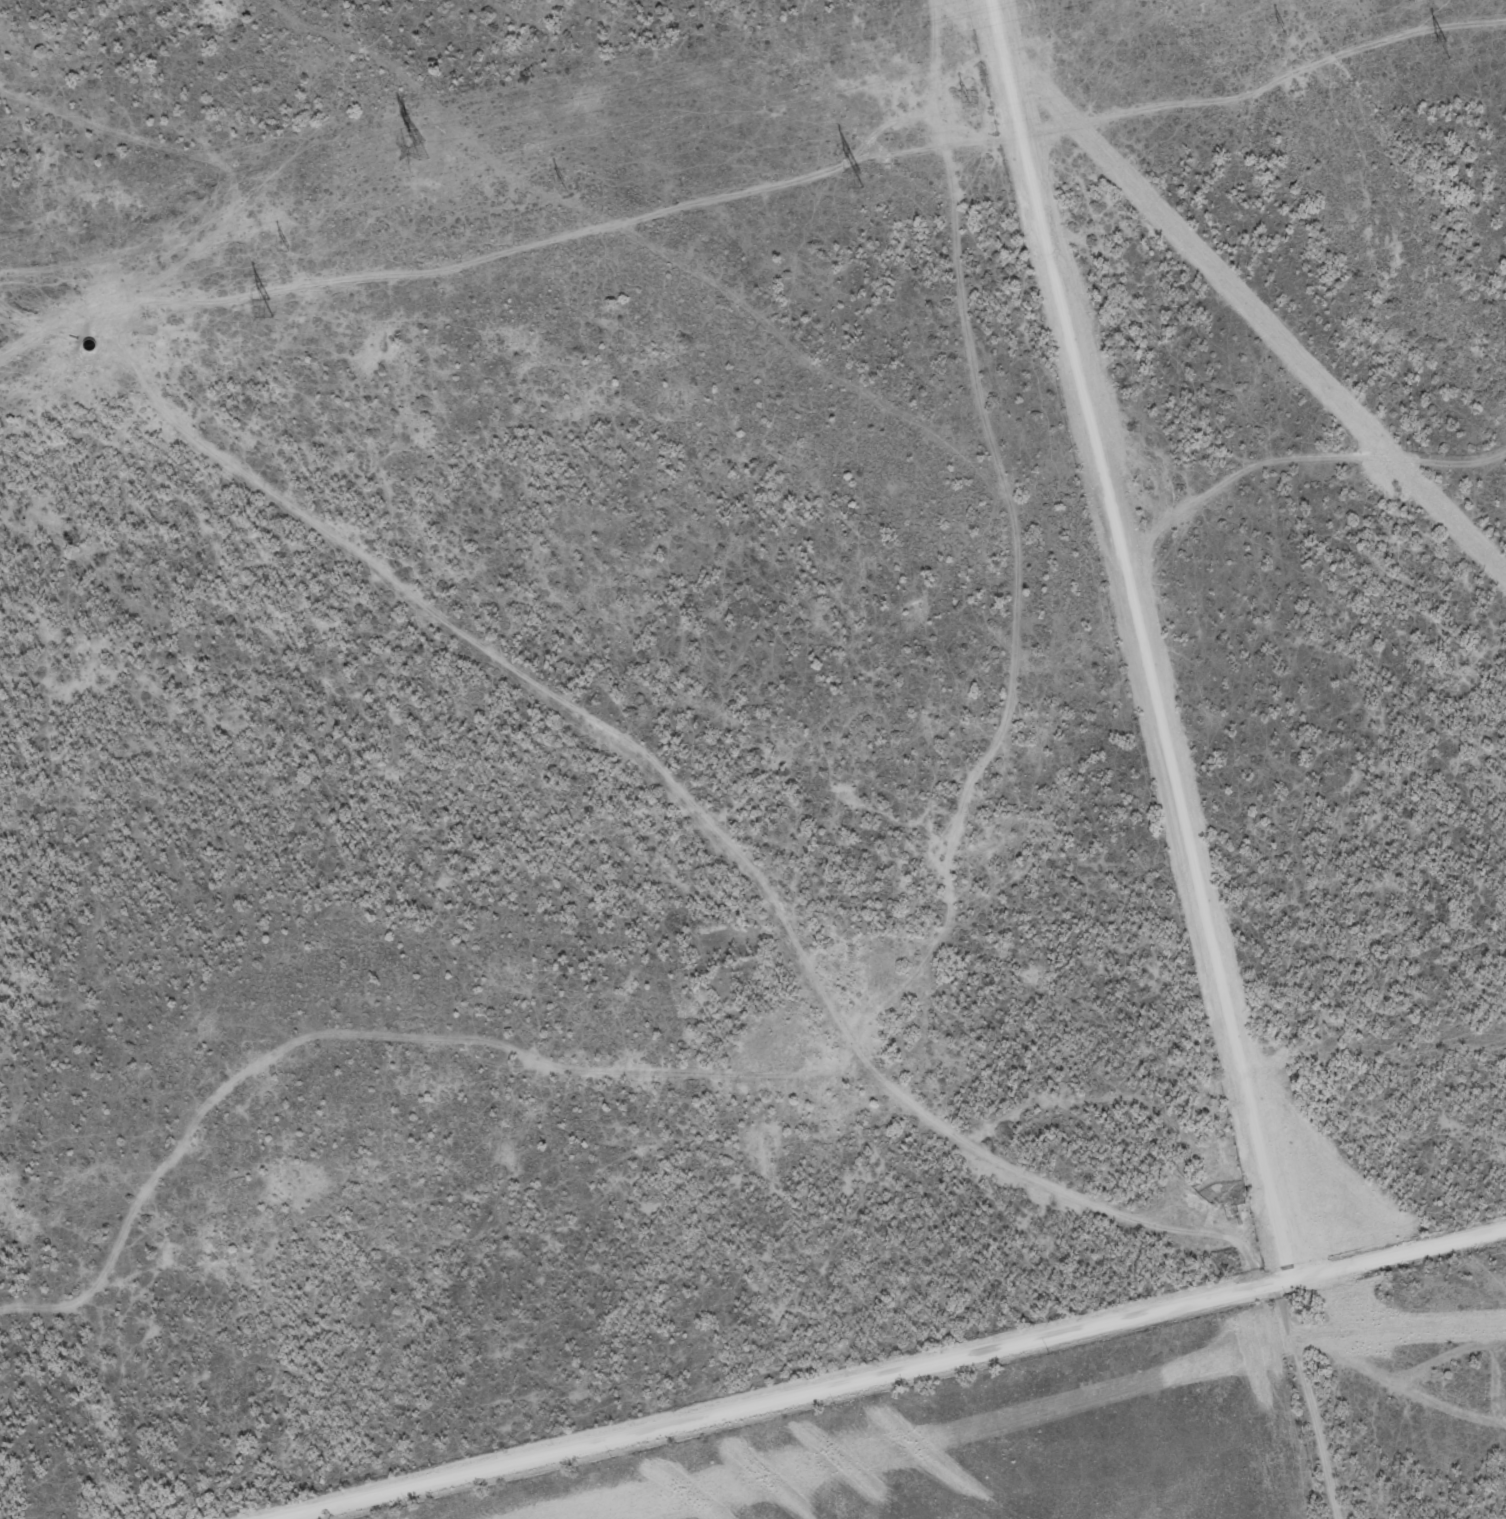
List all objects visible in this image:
power tower: (1286, 30)
power tower: (1444, 50)
power tower: (970, 97)
power tower: (418, 151)
power tower: (851, 176)
power tower: (566, 184)
power tower: (290, 245)
power tower: (267, 308)
road: (1093, 425)
road: (1187, 522)
road: (532, 676)
road: (1241, 1065)
road: (1207, 1236)
road: (891, 1373)

